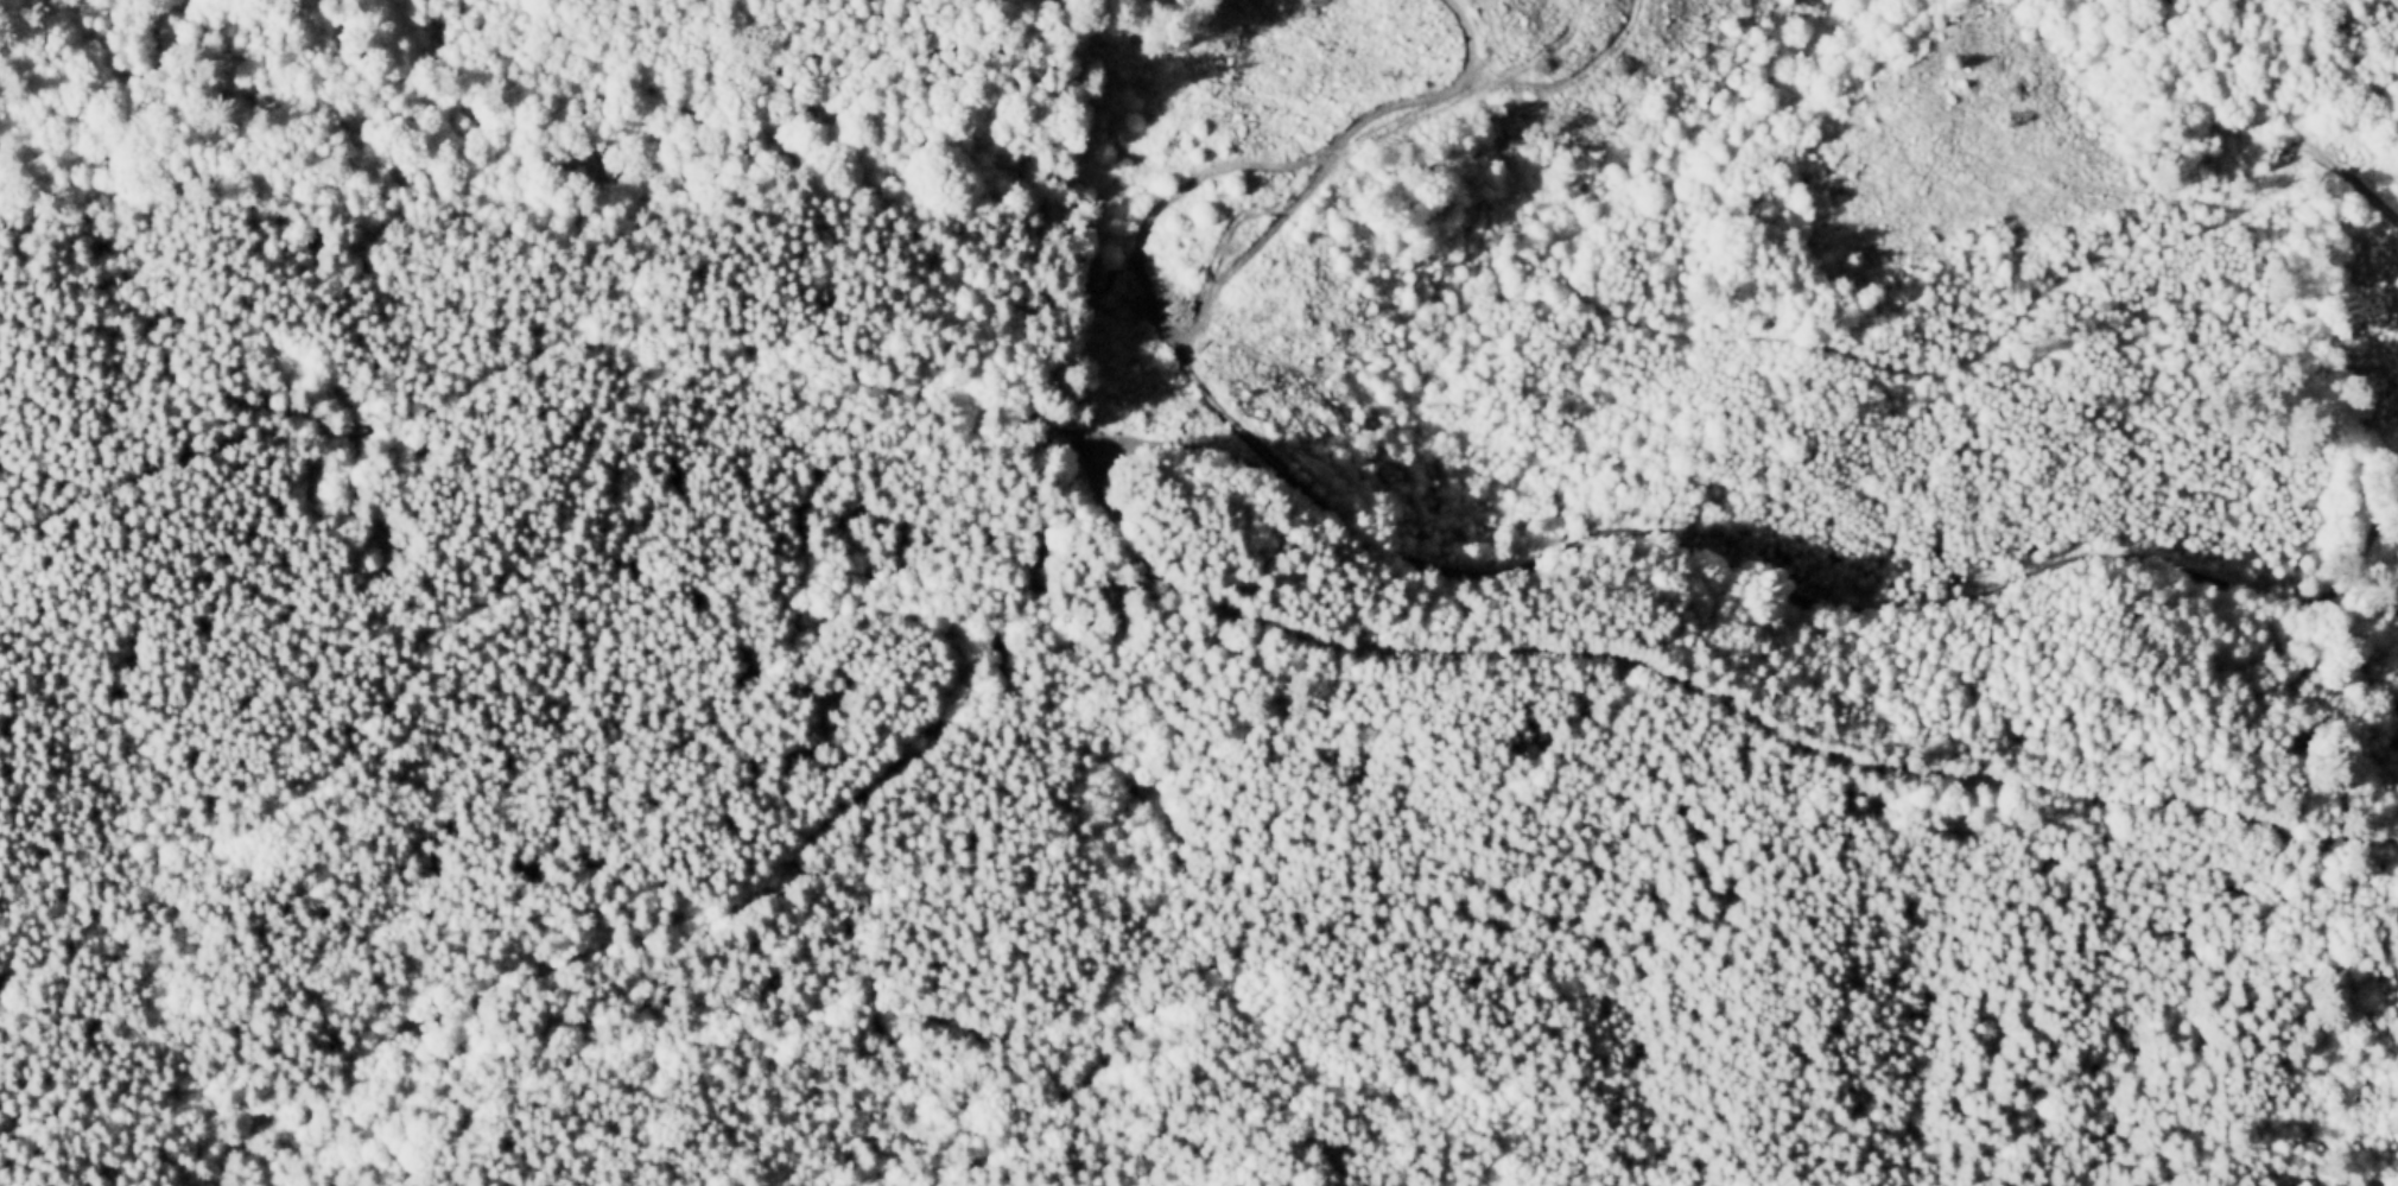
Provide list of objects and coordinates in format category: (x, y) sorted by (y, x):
road: (2276, 112)
road: (1960, 362)
road: (850, 452)
road: (1239, 456)
road: (455, 623)

